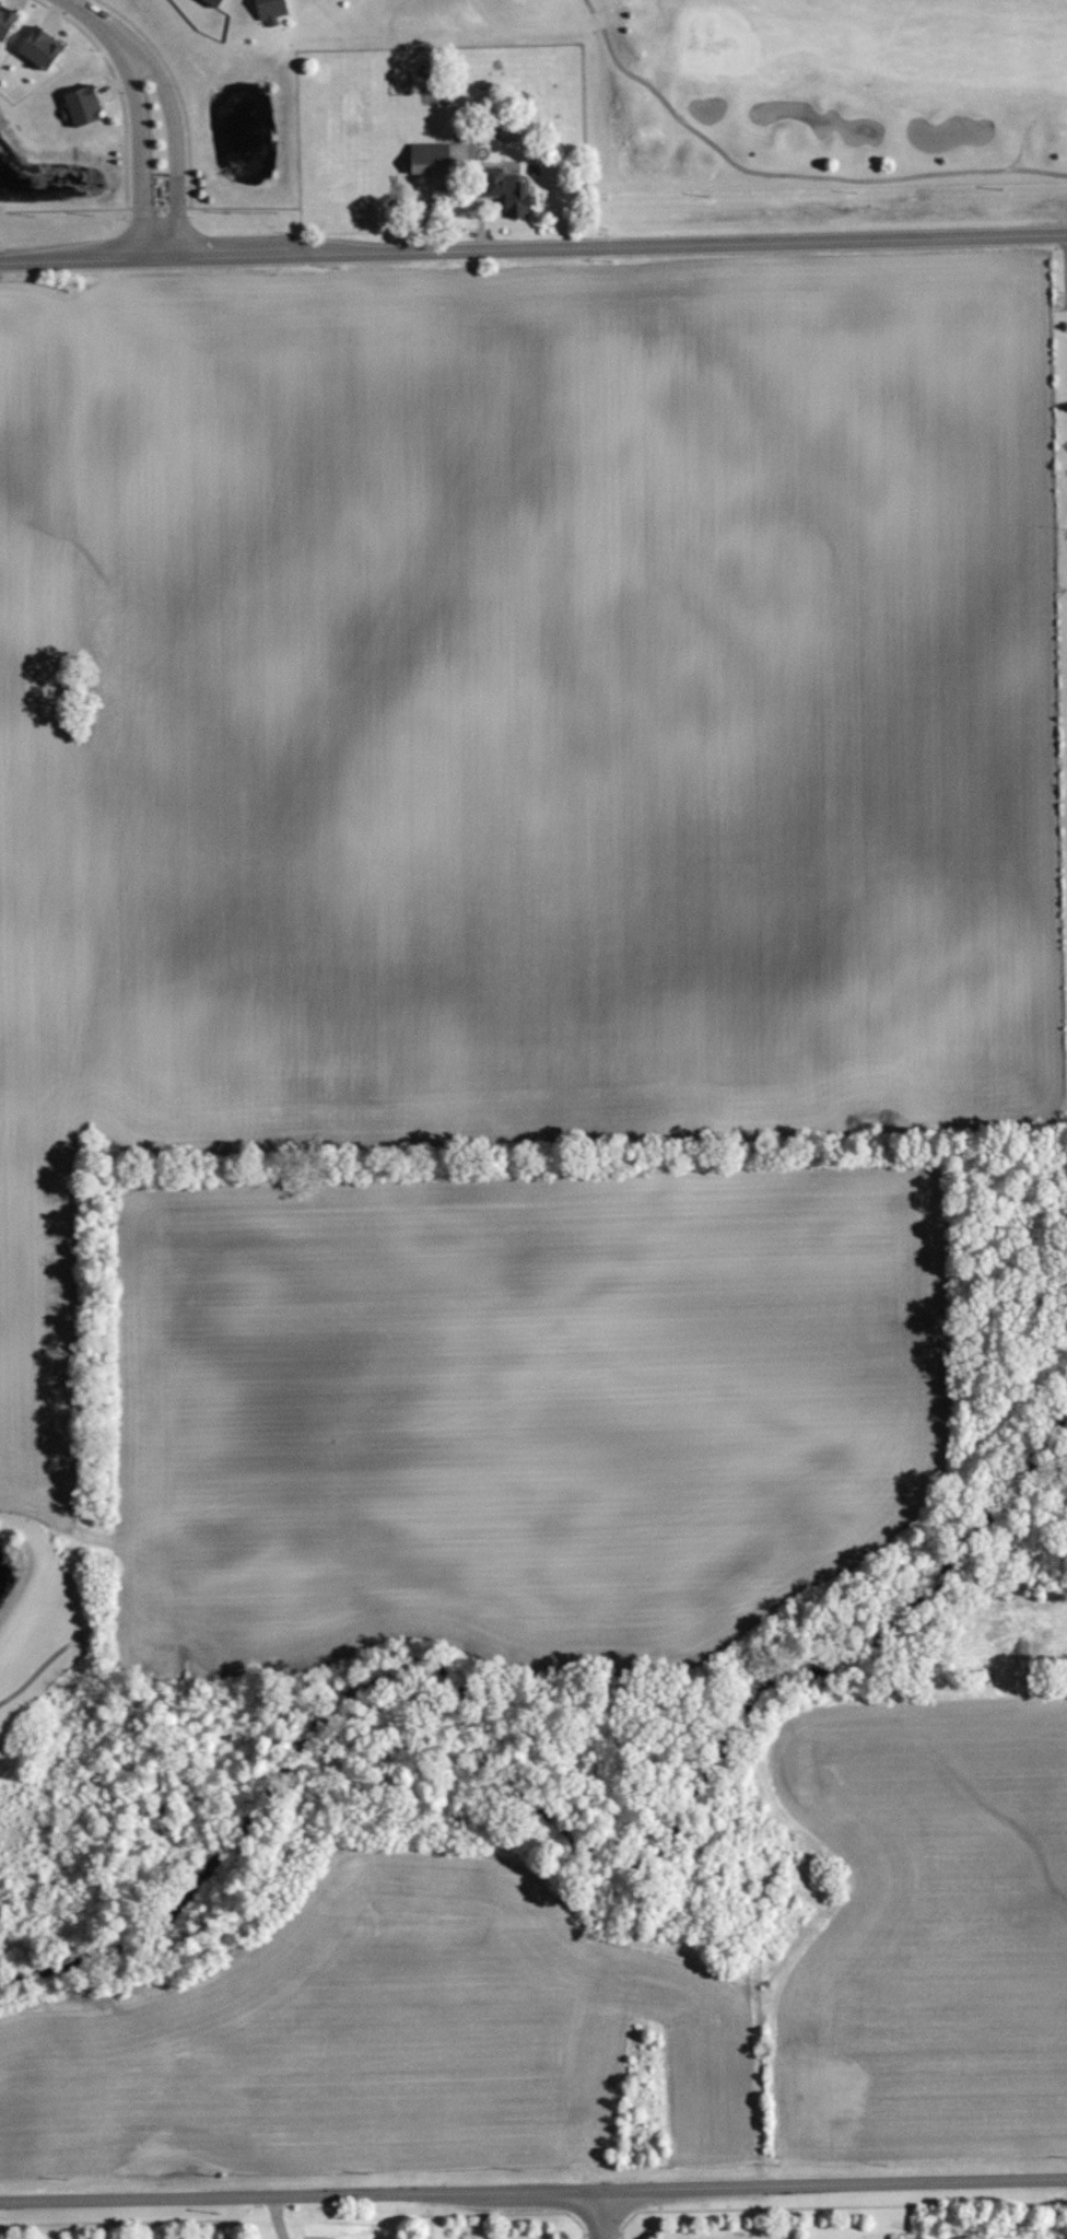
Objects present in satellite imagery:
building: (208, 2)
building: (218, 2)
road: (77, 7)
building: (271, 10)
building: (7, 21)
building: (42, 47)
building: (81, 105)
road: (173, 116)
road: (141, 127)
building: (431, 159)
road: (786, 173)
building: (508, 189)
road: (532, 246)
parking lot: (1066, 444)
road: (40, 1667)
road: (533, 2191)
road: (602, 2214)

